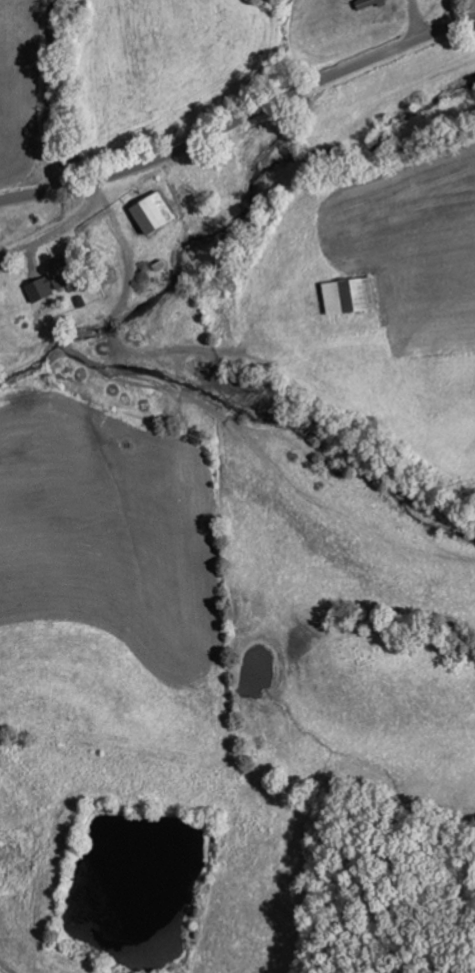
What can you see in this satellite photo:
building: (362, 3)
road: (241, 119)
building: (148, 212)
building: (48, 281)
building: (346, 295)

